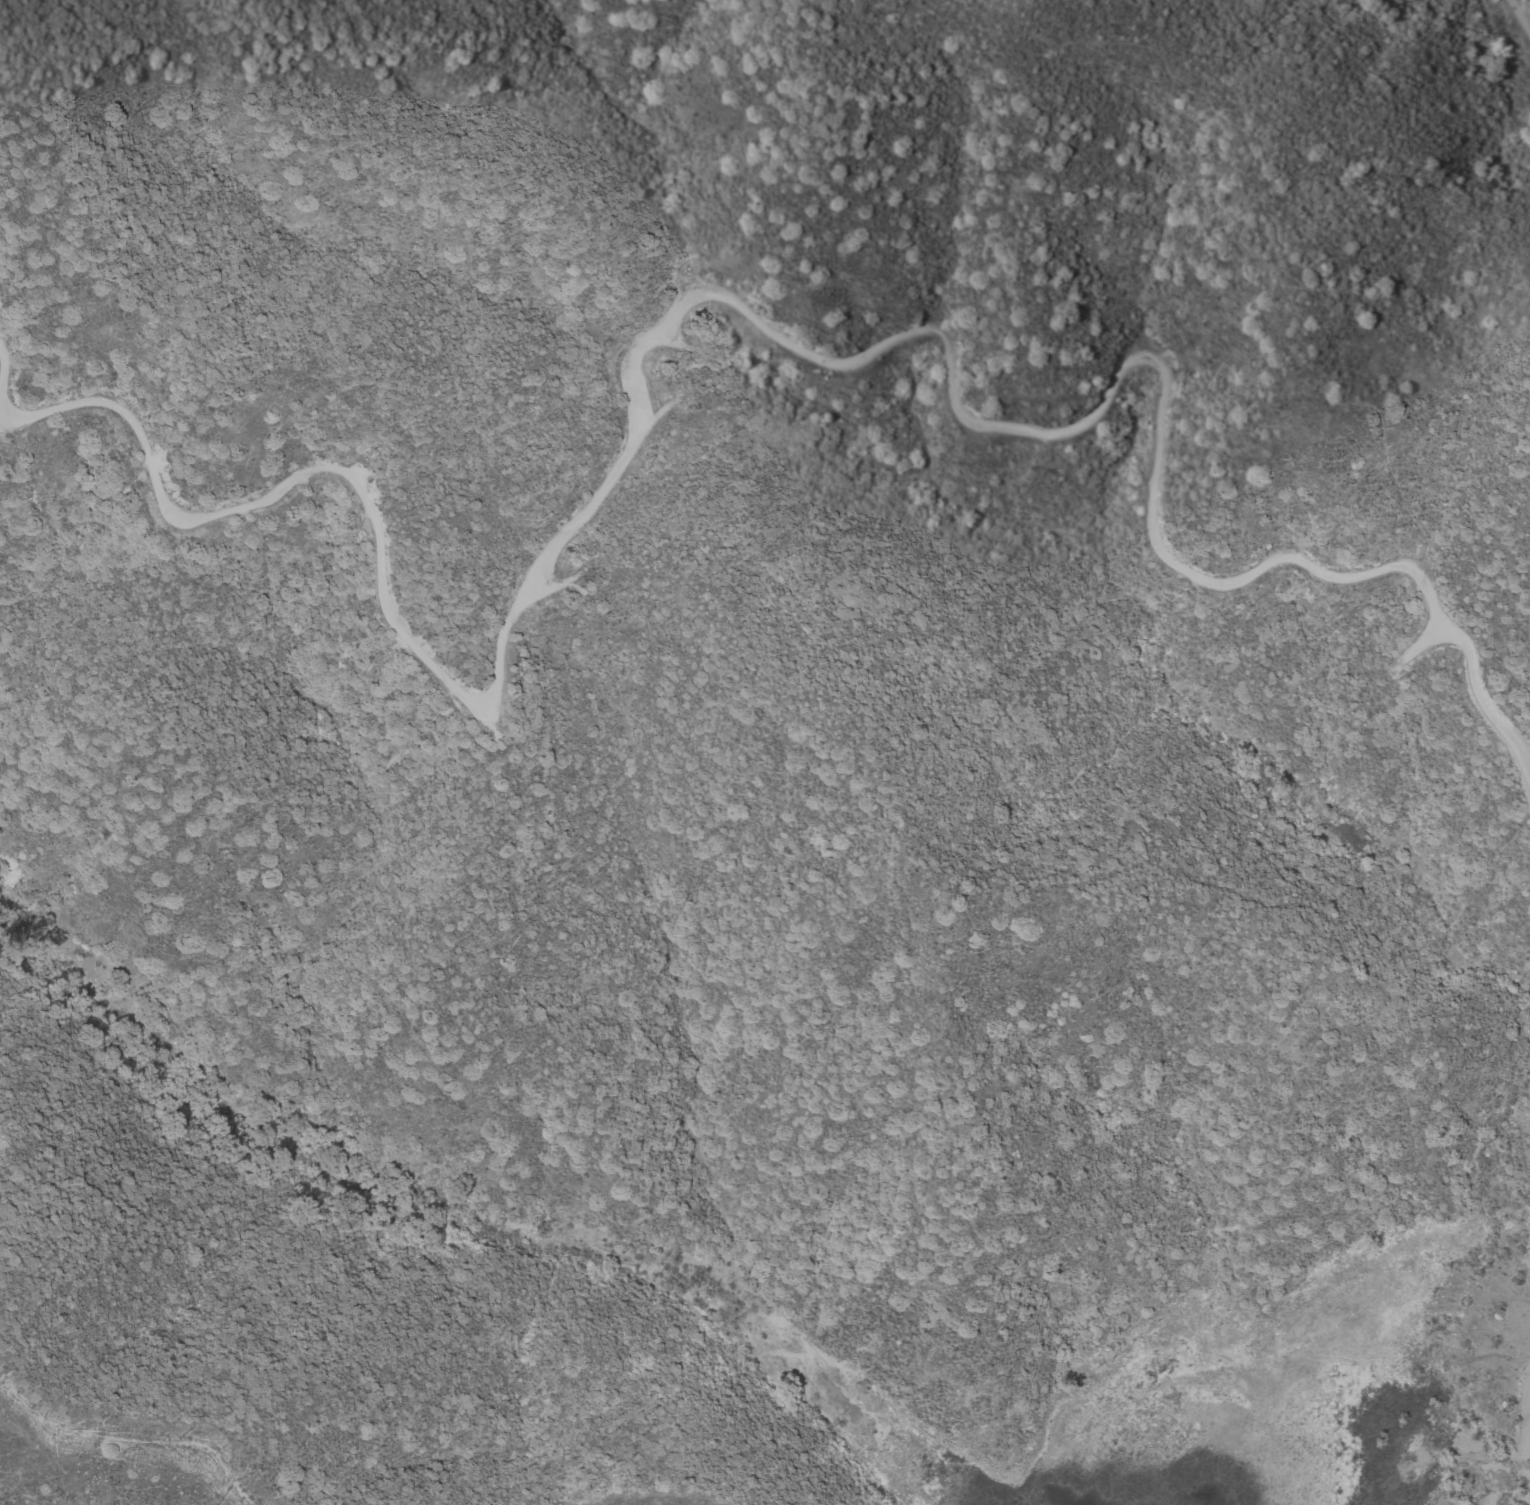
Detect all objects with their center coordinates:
road: (1521, 13)
road: (1259, 198)
road: (735, 298)
road: (5, 365)
road: (224, 391)
road: (383, 465)

